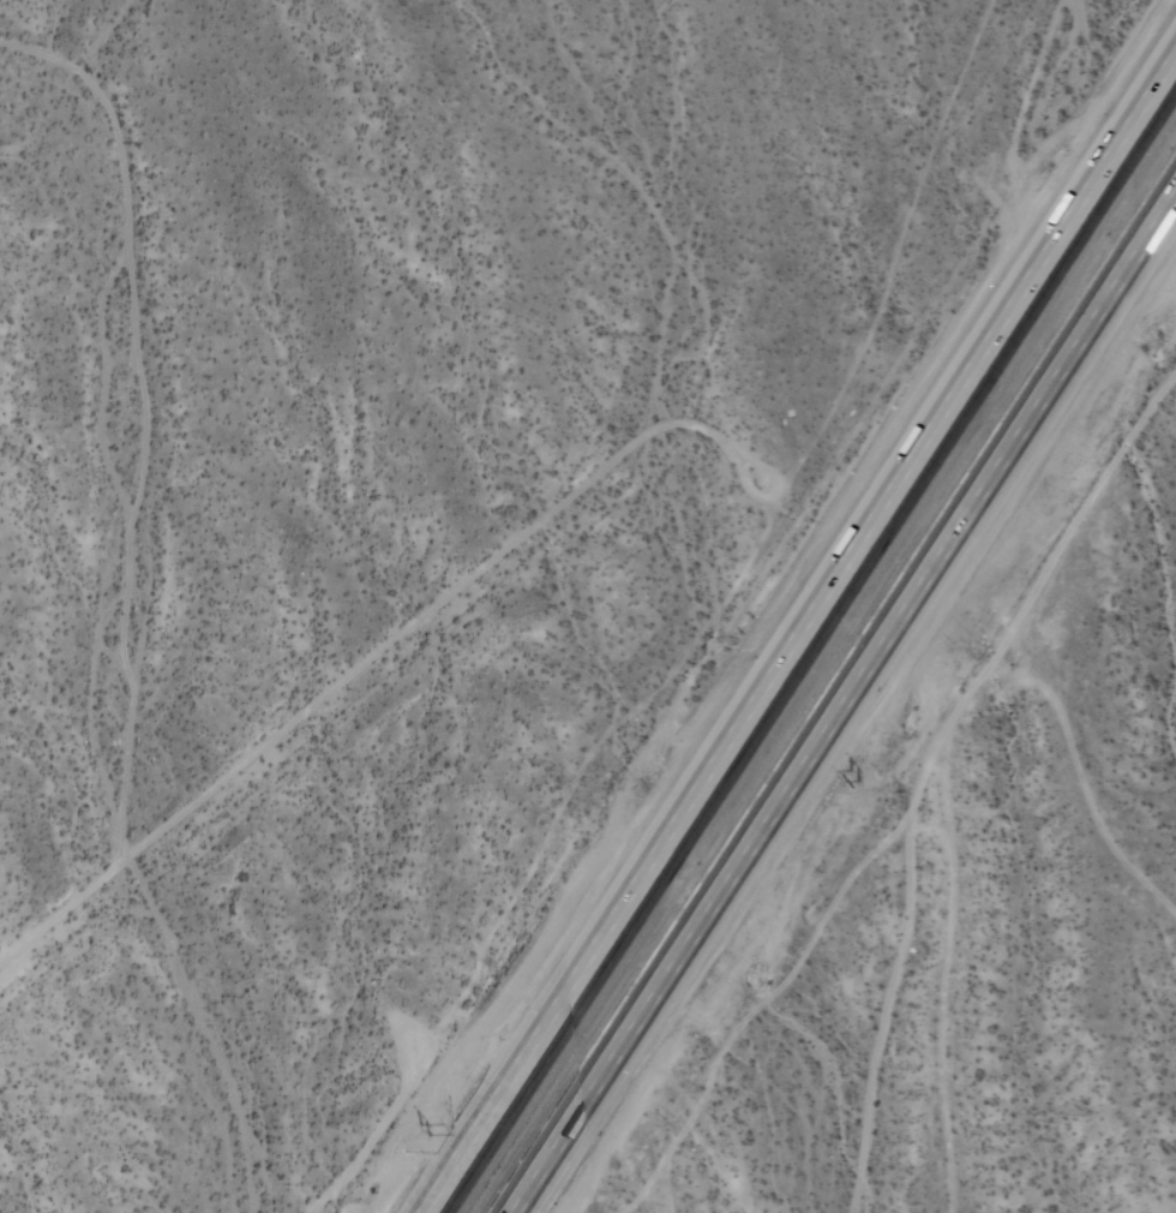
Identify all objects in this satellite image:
road: (794, 632)
railway: (818, 664)
road: (845, 706)
power tower: (653, 776)
power tower: (853, 783)
power tower: (422, 1128)

